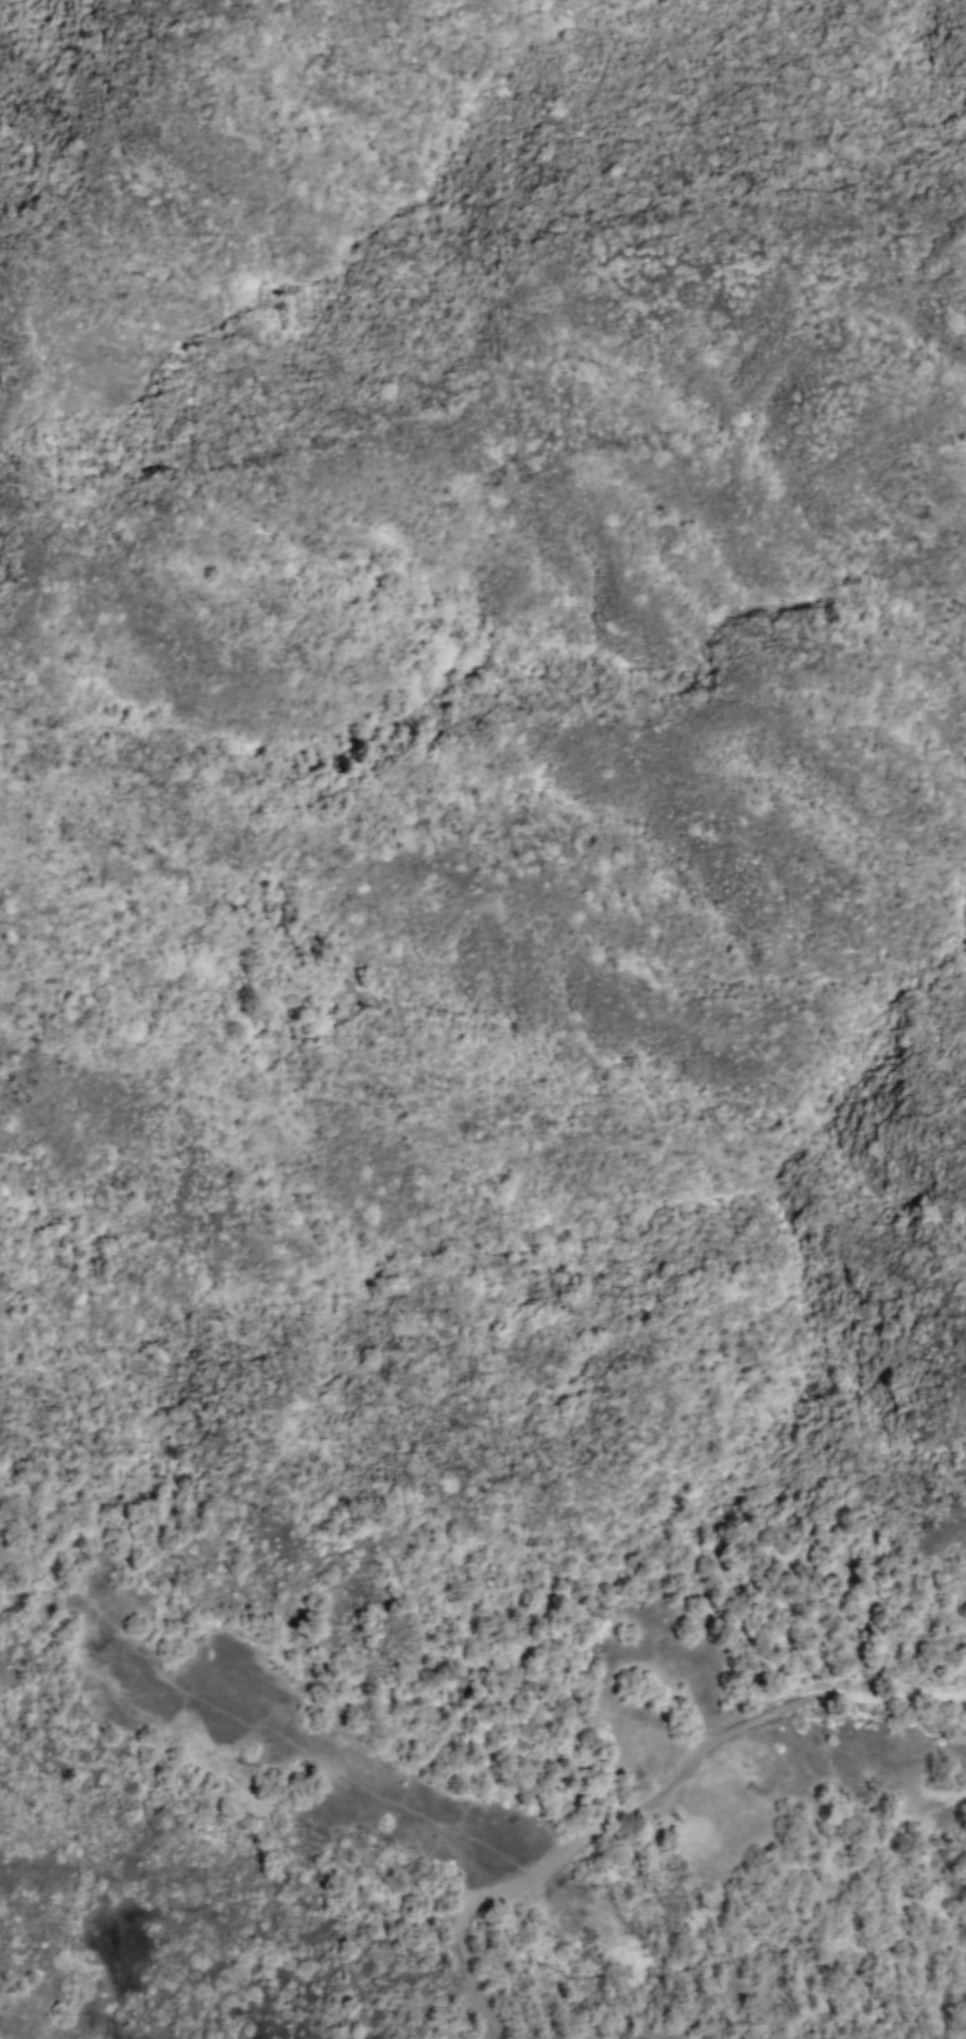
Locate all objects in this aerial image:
road: (651, 1805)

